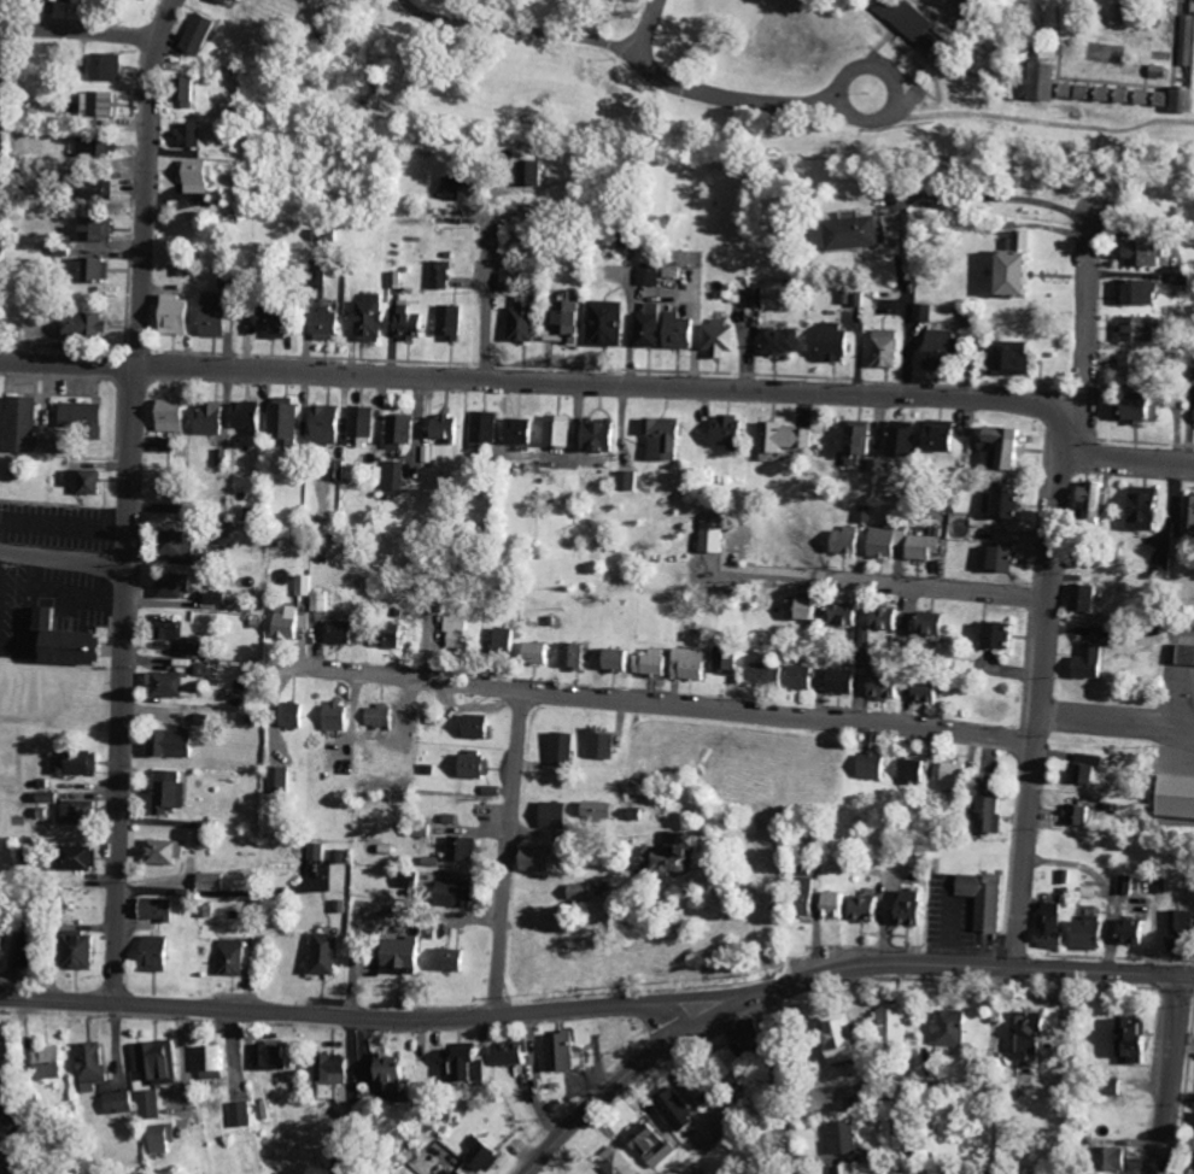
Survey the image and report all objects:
building: (244, 0)
building: (228, 1)
building: (917, 22)
road: (81, 27)
building: (205, 34)
building: (1189, 41)
building: (111, 67)
building: (1048, 81)
building: (192, 89)
building: (1081, 90)
park: (775, 95)
building: (1148, 96)
building: (1169, 98)
building: (1187, 101)
building: (105, 104)
building: (197, 135)
building: (98, 147)
building: (539, 174)
building: (200, 176)
building: (461, 187)
building: (103, 189)
building: (99, 228)
building: (860, 234)
building: (631, 242)
building: (1149, 253)
building: (1028, 266)
building: (94, 270)
building: (445, 275)
building: (654, 275)
road: (492, 281)
building: (517, 282)
building: (1143, 293)
building: (760, 298)
building: (926, 312)
building: (181, 315)
building: (218, 316)
building: (374, 318)
road: (1093, 318)
building: (528, 319)
building: (277, 321)
building: (329, 321)
building: (412, 322)
building: (455, 322)
building: (573, 322)
building: (610, 323)
road: (628, 325)
building: (89, 327)
building: (651, 327)
road: (695, 329)
building: (1142, 329)
building: (683, 331)
building: (722, 339)
building: (784, 341)
building: (838, 342)
building: (889, 348)
building: (947, 350)
building: (1017, 358)
building: (1143, 364)
road: (605, 388)
building: (1142, 409)
building: (87, 415)
building: (176, 416)
building: (253, 417)
building: (215, 418)
building: (288, 422)
building: (27, 424)
building: (330, 424)
building: (365, 424)
building: (486, 428)
building: (450, 429)
building: (405, 430)
building: (562, 430)
building: (733, 430)
building: (522, 432)
building: (604, 436)
building: (947, 436)
building: (864, 438)
building: (667, 439)
building: (790, 439)
building: (906, 439)
building: (60, 445)
building: (1011, 445)
building: (397, 479)
building: (89, 481)
building: (631, 481)
building: (181, 489)
road: (133, 498)
building: (1098, 499)
building: (1007, 505)
building: (1149, 509)
building: (1190, 513)
building: (848, 540)
building: (886, 541)
building: (182, 545)
building: (1183, 546)
building: (926, 547)
road: (65, 554)
building: (1005, 559)
building: (176, 585)
building: (308, 585)
road: (932, 585)
building: (1089, 598)
building: (324, 601)
building: (807, 610)
building: (849, 615)
building: (890, 620)
building: (291, 622)
building: (937, 624)
building: (344, 632)
building: (460, 633)
building: (182, 634)
building: (392, 636)
building: (1005, 636)
building: (70, 641)
building: (505, 641)
building: (538, 653)
building: (1183, 654)
building: (574, 656)
building: (1087, 656)
building: (622, 661)
building: (728, 661)
building: (655, 663)
building: (691, 663)
building: (768, 675)
building: (804, 677)
building: (845, 681)
building: (178, 686)
building: (890, 686)
building: (931, 691)
road: (1042, 698)
road: (667, 704)
building: (297, 715)
building: (340, 717)
building: (382, 718)
road: (1118, 721)
building: (480, 727)
building: (175, 744)
building: (605, 745)
building: (566, 750)
building: (82, 763)
building: (476, 765)
building: (866, 765)
building: (1082, 768)
building: (911, 770)
building: (952, 775)
building: (285, 781)
building: (175, 793)
building: (82, 812)
building: (602, 812)
building: (987, 812)
building: (1077, 814)
building: (560, 815)
building: (422, 828)
building: (468, 850)
road: (513, 851)
building: (169, 852)
building: (320, 852)
building: (663, 853)
building: (82, 858)
building: (542, 859)
building: (412, 881)
building: (215, 882)
building: (1123, 884)
building: (462, 893)
building: (803, 897)
building: (981, 897)
building: (831, 904)
building: (907, 906)
building: (862, 908)
building: (160, 910)
building: (1047, 918)
building: (1178, 920)
building: (1128, 931)
building: (1079, 932)
building: (4, 941)
building: (33, 950)
building: (86, 951)
building: (329, 952)
building: (162, 953)
building: (234, 956)
building: (453, 958)
road: (948, 961)
road: (356, 1014)
building: (891, 1022)
building: (744, 1027)
building: (948, 1028)
building: (1025, 1034)
building: (833, 1038)
building: (1128, 1038)
building: (566, 1051)
building: (519, 1052)
building: (274, 1055)
building: (54, 1061)
building: (160, 1061)
building: (217, 1061)
road: (187, 1063)
building: (96, 1064)
building: (726, 1064)
building: (341, 1072)
building: (396, 1072)
road: (1173, 1074)
road: (535, 1076)
road: (780, 1081)
road: (611, 1085)
road: (877, 1086)
building: (1110, 1086)
building: (124, 1102)
building: (154, 1103)
building: (671, 1109)
building: (244, 1114)
building: (1193, 1122)
building: (842, 1135)
building: (165, 1138)
building: (639, 1138)
building: (487, 1152)
building: (1107, 1158)
building: (613, 1161)
building: (1190, 1166)
building: (847, 1168)
building: (453, 1170)

